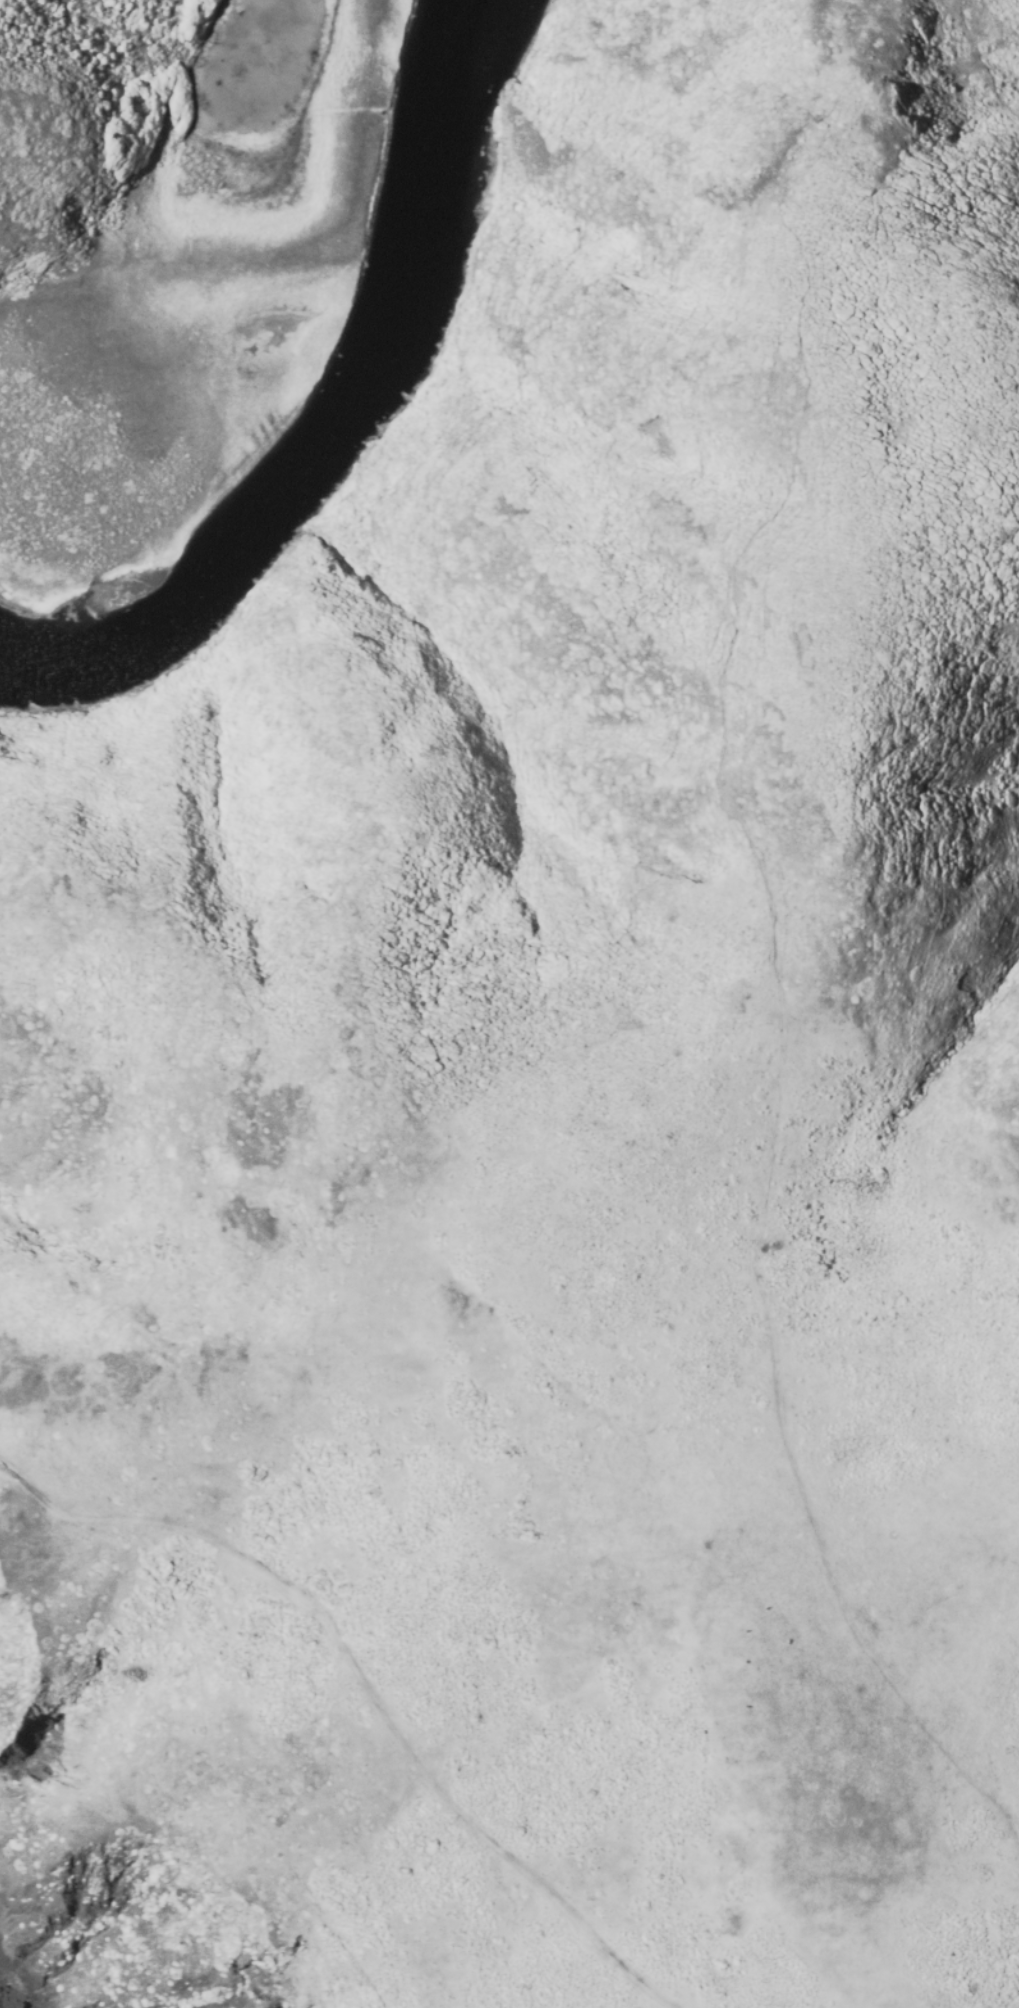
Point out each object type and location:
road: (383, 1717)
road: (204, 1722)

